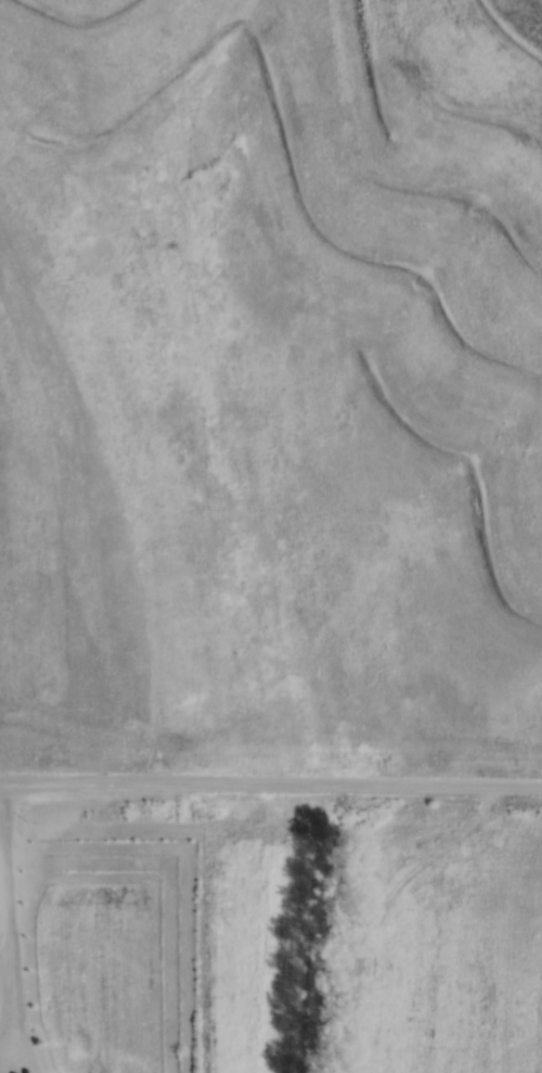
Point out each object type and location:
road: (270, 791)

